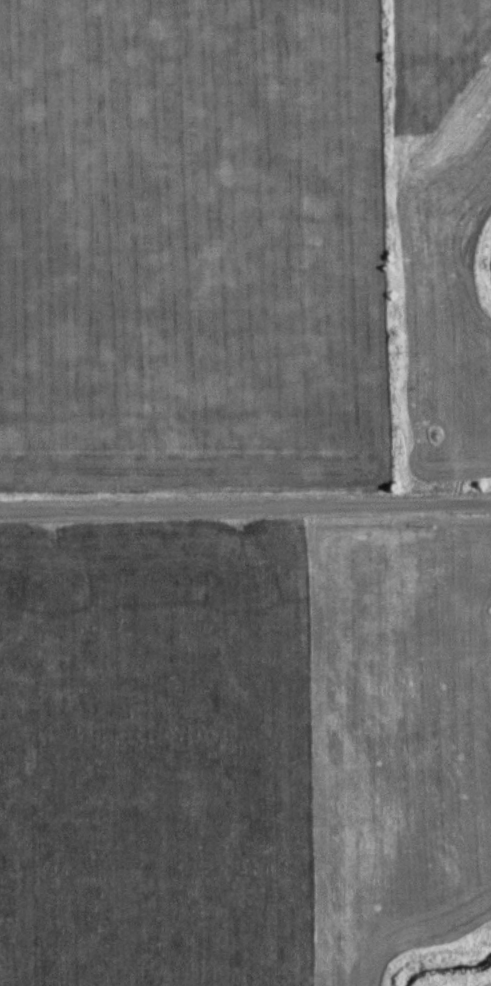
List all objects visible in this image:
road: (245, 507)

